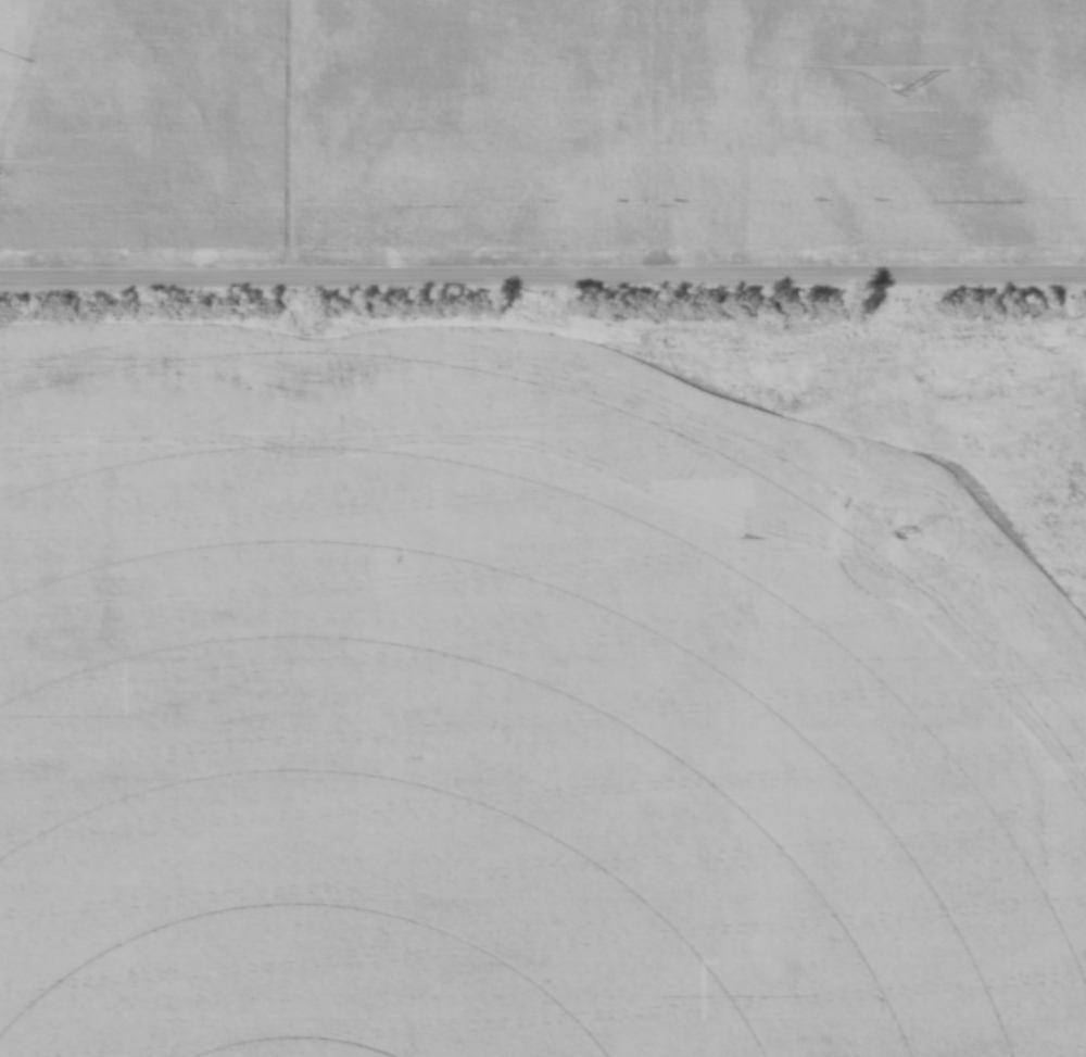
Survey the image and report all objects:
power tower: (908, 90)
road: (543, 276)
power tower: (907, 534)

